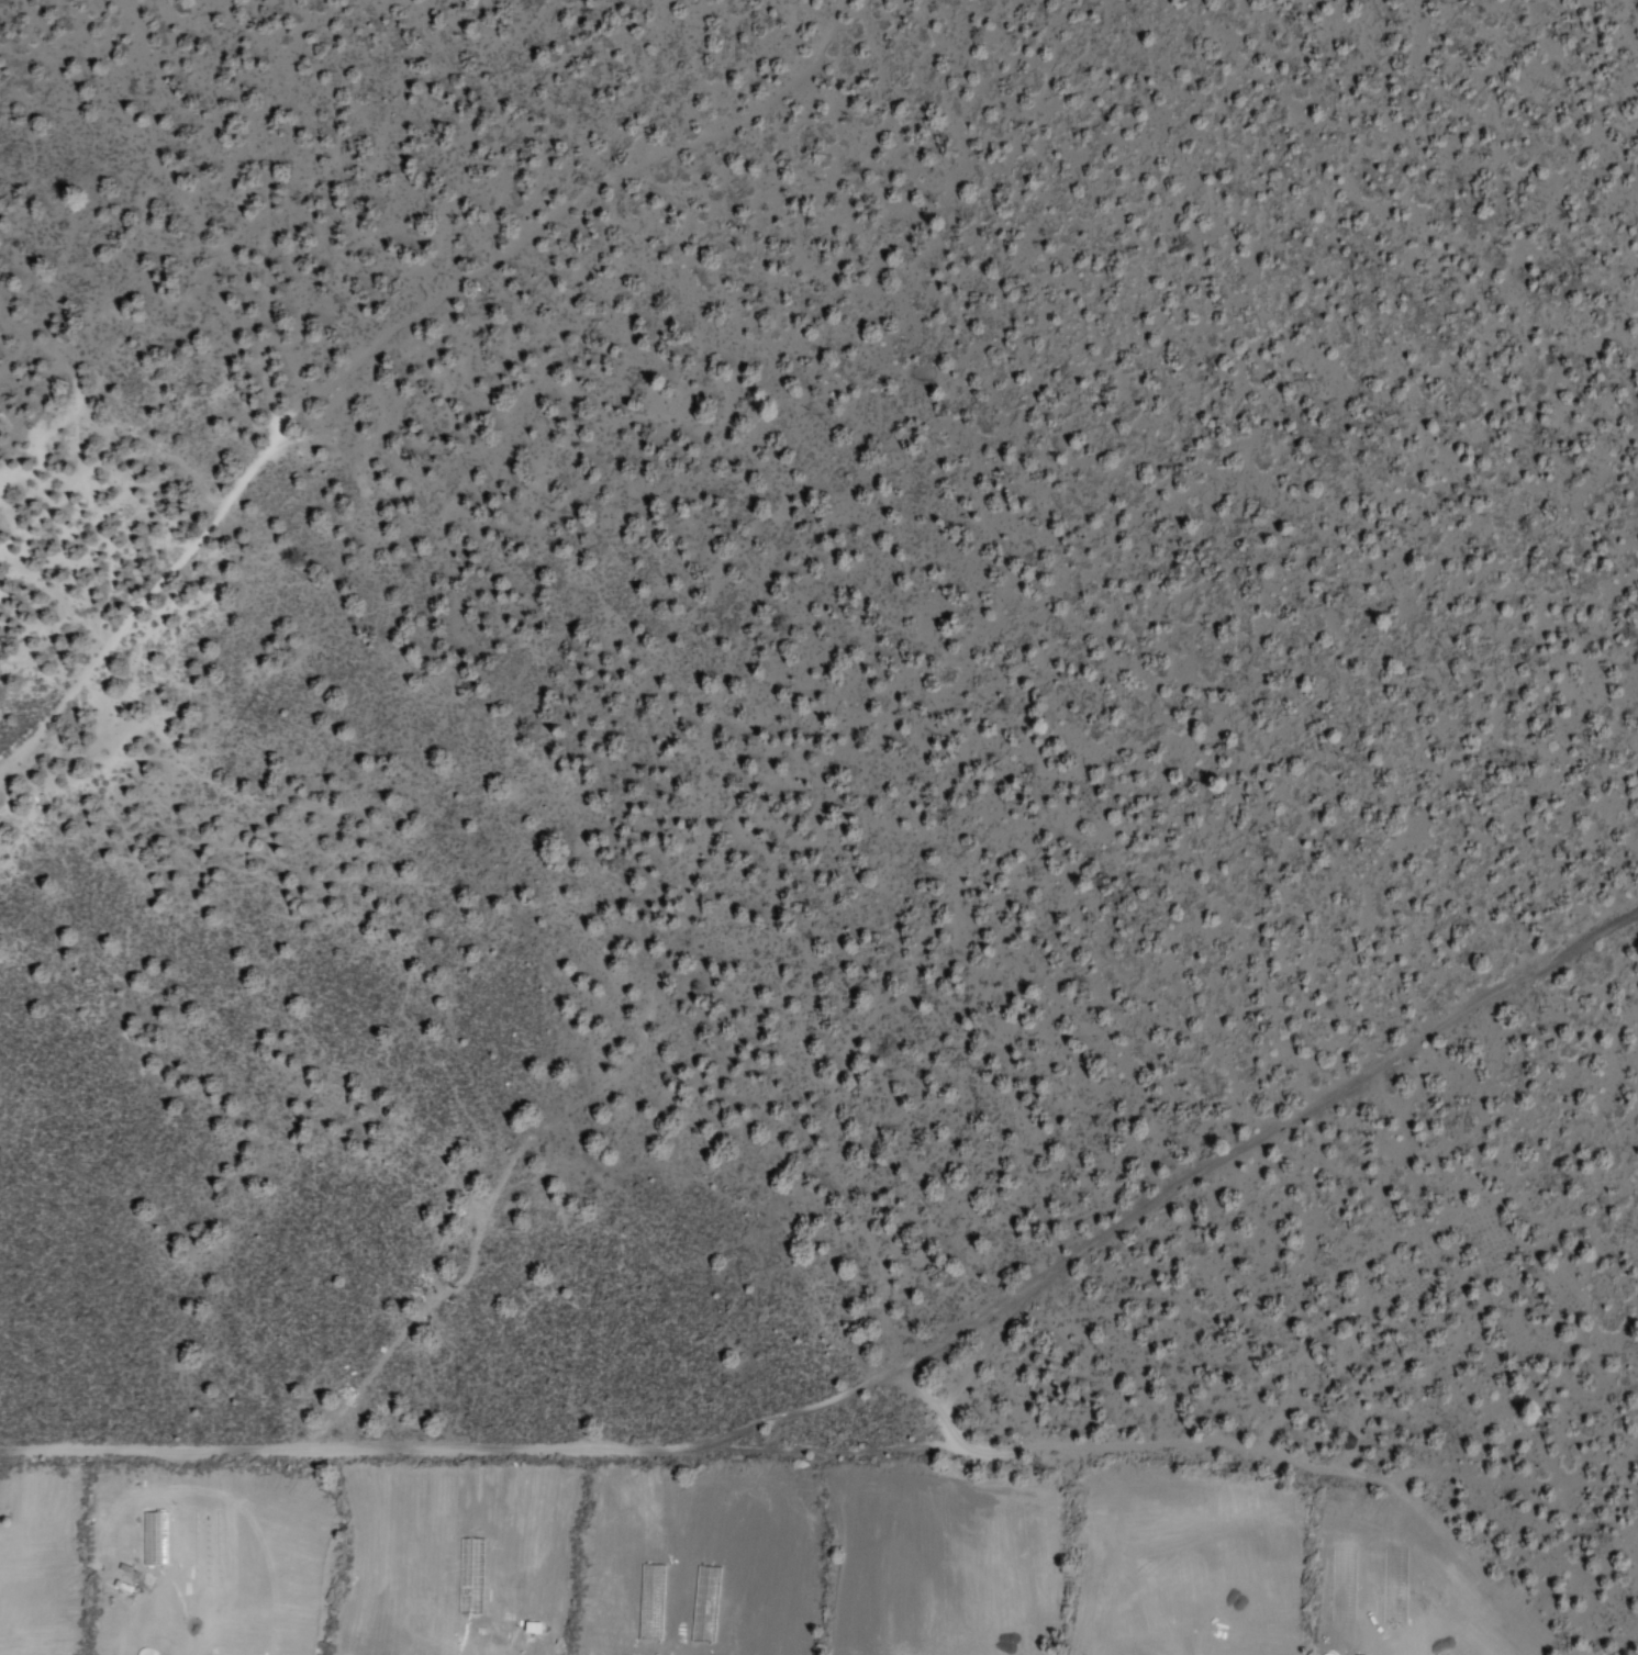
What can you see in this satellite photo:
road: (378, 325)
road: (879, 1374)

